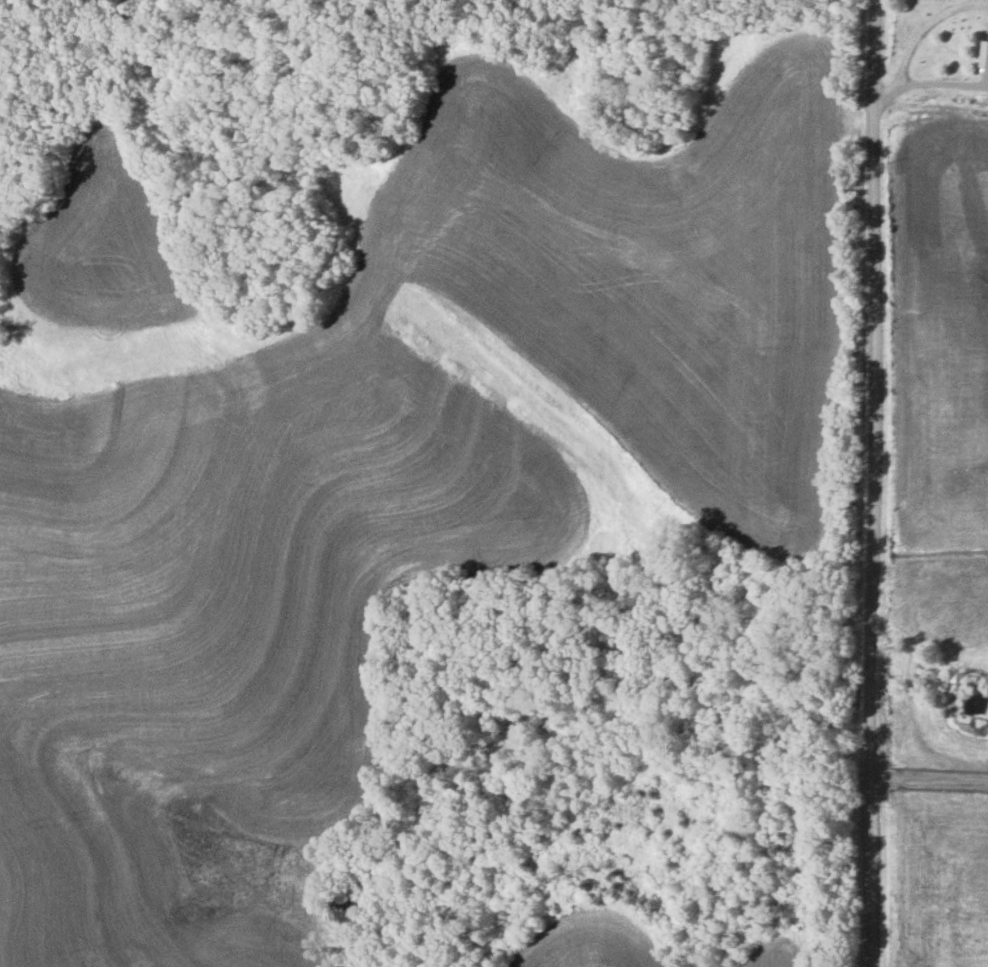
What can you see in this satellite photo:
road: (917, 44)
road: (941, 81)
road: (930, 112)
road: (870, 483)
road: (932, 777)

